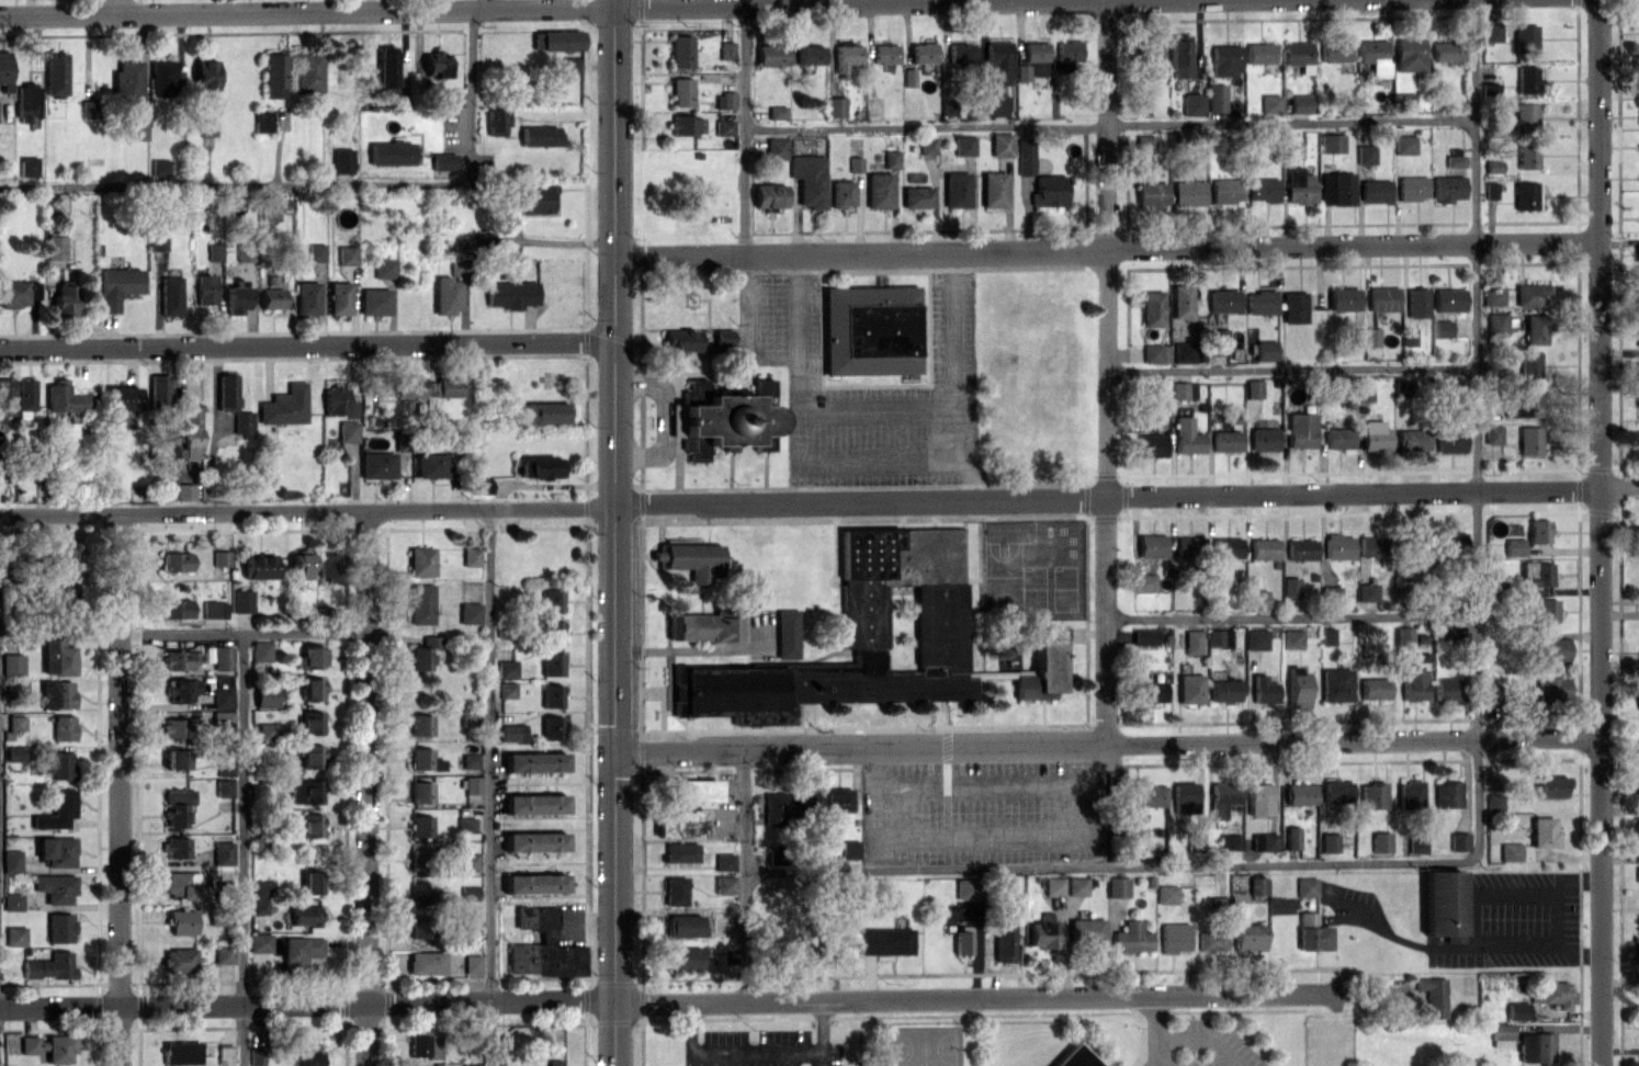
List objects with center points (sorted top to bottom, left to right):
road: (483, 4)
road: (118, 7)
road: (517, 8)
building: (1492, 32)
building: (1525, 37)
building: (556, 39)
building: (726, 49)
building: (1335, 49)
building: (680, 50)
building: (1069, 50)
building: (1446, 50)
building: (923, 52)
building: (960, 52)
building: (885, 53)
building: (1259, 53)
building: (770, 54)
building: (810, 54)
building: (1410, 54)
building: (1178, 55)
building: (1299, 55)
building: (1375, 55)
building: (846, 56)
building: (1036, 57)
building: (1225, 59)
building: (437, 63)
building: (572, 64)
building: (386, 69)
building: (4, 70)
building: (307, 72)
building: (1021, 72)
building: (55, 73)
building: (205, 73)
building: (273, 75)
building: (163, 77)
building: (1525, 79)
building: (126, 81)
building: (681, 91)
building: (443, 97)
building: (1216, 98)
building: (724, 100)
building: (27, 101)
building: (1405, 101)
building: (1270, 102)
building: (1300, 102)
building: (1192, 103)
building: (994, 104)
building: (836, 106)
building: (88, 107)
building: (777, 111)
building: (1523, 118)
building: (262, 120)
building: (496, 121)
road: (1110, 124)
building: (206, 126)
building: (723, 126)
building: (136, 128)
road: (744, 128)
building: (540, 135)
building: (1332, 141)
building: (1144, 143)
building: (1216, 143)
building: (1001, 144)
building: (1404, 144)
building: (927, 145)
building: (963, 145)
building: (776, 147)
building: (1293, 149)
building: (391, 152)
building: (1365, 154)
building: (1527, 155)
building: (1025, 156)
building: (891, 158)
building: (342, 160)
building: (1455, 160)
building: (442, 161)
building: (27, 166)
building: (1492, 166)
building: (159, 168)
building: (809, 179)
road: (317, 184)
building: (1299, 185)
building: (1412, 186)
building: (993, 188)
building: (1336, 188)
building: (1448, 188)
building: (956, 189)
building: (1263, 189)
building: (1491, 189)
building: (878, 190)
building: (1049, 190)
building: (1225, 190)
building: (1375, 190)
building: (1151, 192)
building: (1187, 192)
building: (841, 193)
building: (768, 195)
building: (916, 195)
building: (1526, 195)
building: (533, 199)
building: (269, 207)
road: (914, 229)
road: (1085, 231)
building: (158, 239)
building: (55, 243)
road: (1105, 249)
building: (214, 251)
building: (316, 251)
road: (1085, 251)
building: (245, 252)
building: (1637, 252)
road: (585, 253)
building: (347, 254)
road: (640, 262)
building: (383, 268)
road: (866, 269)
building: (117, 285)
building: (205, 288)
building: (19, 293)
building: (510, 293)
building: (447, 294)
building: (1531, 294)
building: (170, 295)
building: (1496, 295)
building: (271, 297)
building: (307, 297)
building: (339, 297)
building: (1382, 297)
building: (237, 298)
flagpole: (690, 298)
building: (1343, 298)
building: (1448, 298)
building: (63, 299)
building: (1222, 299)
building: (374, 300)
building: (1180, 300)
building: (1261, 302)
building: (1416, 302)
building: (1638, 302)
road: (744, 303)
building: (1293, 306)
road: (707, 307)
building: (1152, 308)
building: (1496, 322)
road: (691, 327)
building: (869, 328)
building: (1442, 328)
road: (796, 329)
building: (1534, 329)
road: (607, 334)
building: (1371, 336)
building: (1638, 336)
building: (723, 337)
building: (681, 340)
road: (585, 341)
road: (646, 341)
building: (1217, 341)
road: (306, 343)
building: (1265, 350)
building: (1155, 352)
building: (1185, 352)
road: (739, 361)
building: (1529, 364)
road: (1290, 368)
road: (713, 372)
road: (1105, 372)
road: (728, 379)
road: (640, 381)
building: (408, 386)
building: (448, 386)
building: (1253, 388)
building: (1402, 388)
building: (158, 389)
building: (1182, 389)
building: (226, 392)
building: (1364, 392)
building: (5, 396)
building: (24, 397)
building: (65, 397)
building: (123, 397)
building: (338, 401)
building: (1523, 401)
building: (1638, 401)
building: (285, 405)
road: (825, 406)
road: (675, 410)
building: (544, 411)
road: (678, 418)
building: (726, 418)
road: (665, 419)
building: (244, 424)
road: (585, 426)
road: (1476, 428)
building: (1300, 429)
road: (954, 430)
building: (348, 431)
building: (191, 433)
building: (1492, 433)
building: (1186, 435)
building: (1374, 435)
building: (1337, 438)
building: (1263, 439)
building: (1411, 439)
building: (1529, 439)
building: (1225, 440)
building: (1450, 441)
building: (1637, 441)
building: (1151, 444)
road: (210, 462)
building: (377, 464)
building: (431, 465)
building: (540, 466)
road: (764, 468)
road: (728, 469)
road: (1106, 474)
road: (1120, 474)
road: (1087, 475)
road: (1123, 478)
building: (481, 485)
road: (862, 485)
building: (184, 491)
road: (1126, 494)
road: (1123, 495)
road: (1085, 497)
road: (641, 501)
road: (585, 507)
road: (307, 510)
road: (1123, 512)
road: (1103, 515)
road: (1120, 515)
road: (864, 518)
road: (900, 522)
road: (932, 522)
building: (1538, 530)
road: (613, 532)
road: (1598, 533)
building: (1450, 541)
building: (1151, 544)
building: (1338, 545)
building: (1371, 545)
building: (1187, 546)
building: (1225, 546)
building: (1514, 546)
building: (1263, 547)
building: (1300, 548)
road: (834, 552)
building: (687, 555)
building: (470, 556)
building: (221, 557)
building: (174, 560)
building: (420, 560)
building: (59, 562)
building: (301, 564)
building: (259, 565)
building: (327, 566)
road: (977, 567)
building: (1536, 574)
park: (1002, 576)
road: (969, 578)
building: (1143, 581)
building: (1289, 586)
park: (1063, 587)
park: (1033, 588)
building: (1366, 591)
building: (1330, 593)
building: (551, 599)
building: (1257, 599)
building: (242, 600)
building: (420, 603)
building: (176, 608)
building: (214, 609)
building: (1545, 610)
building: (468, 612)
road: (1290, 616)
road: (1085, 617)
road: (640, 626)
building: (707, 626)
building: (554, 632)
building: (787, 632)
building: (1446, 632)
road: (242, 634)
building: (1144, 635)
building: (1326, 635)
building: (1403, 635)
building: (857, 636)
building: (1218, 637)
building: (1255, 638)
building: (1292, 638)
building: (1191, 640)
building: (1548, 648)
building: (261, 650)
building: (422, 653)
building: (57, 657)
building: (223, 657)
building: (310, 657)
building: (181, 658)
building: (551, 662)
building: (12, 664)
building: (1041, 665)
building: (506, 668)
road: (979, 671)
building: (1413, 683)
building: (1335, 684)
building: (1296, 687)
building: (1188, 688)
building: (1374, 688)
building: (1550, 688)
building: (180, 689)
building: (312, 689)
building: (507, 689)
building: (1447, 689)
building: (1224, 690)
building: (1263, 690)
road: (655, 691)
building: (1149, 691)
building: (56, 693)
building: (223, 695)
building: (265, 695)
building: (551, 695)
building: (1638, 700)
road: (659, 710)
flagpole: (958, 711)
road: (1041, 711)
road: (937, 713)
building: (468, 716)
building: (222, 719)
building: (16, 722)
building: (310, 722)
building: (420, 724)
road: (1103, 724)
building: (551, 726)
road: (863, 726)
building: (63, 727)
building: (177, 727)
road: (945, 728)
road: (591, 729)
road: (615, 729)
building: (271, 732)
building: (512, 732)
road: (1105, 744)
road: (945, 746)
road: (586, 751)
building: (15, 752)
road: (640, 752)
building: (312, 755)
building: (174, 758)
building: (423, 759)
building: (470, 760)
building: (533, 761)
building: (59, 763)
building: (225, 768)
road: (756, 768)
building: (1638, 774)
road: (945, 778)
road: (990, 782)
building: (472, 784)
building: (1550, 785)
building: (224, 786)
road: (489, 786)
road: (366, 787)
road: (118, 790)
building: (693, 790)
building: (304, 791)
building: (1336, 791)
building: (420, 792)
building: (1297, 793)
building: (1446, 793)
building: (1148, 794)
building: (1409, 794)
building: (1371, 795)
building: (1184, 796)
building: (1221, 797)
building: (837, 798)
building: (1258, 798)
building: (1493, 802)
building: (534, 803)
building: (177, 807)
road: (946, 808)
building: (773, 809)
building: (57, 810)
building: (679, 823)
building: (465, 824)
building: (310, 825)
building: (420, 826)
road: (946, 829)
building: (1542, 831)
road: (982, 833)
building: (1291, 837)
building: (534, 840)
building: (1228, 840)
building: (1458, 840)
building: (1194, 841)
building: (1263, 841)
building: (1380, 841)
building: (1329, 842)
building: (1416, 842)
building: (176, 847)
building: (849, 848)
road: (242, 849)
building: (56, 850)
building: (1511, 851)
building: (223, 852)
building: (679, 852)
building: (419, 860)
building: (11, 861)
building: (470, 861)
building: (724, 861)
road: (1110, 864)
road: (744, 874)
road: (640, 877)
building: (312, 881)
building: (534, 883)
building: (183, 884)
building: (723, 884)
building: (1053, 885)
building: (1076, 885)
building: (1256, 885)
building: (1117, 886)
building: (1305, 886)
building: (56, 887)
building: (262, 887)
building: (967, 888)
building: (674, 891)
building: (468, 892)
building: (1165, 894)
building: (419, 895)
building: (12, 900)
building: (1442, 901)
building: (258, 906)
building: (305, 915)
road: (1558, 916)
building: (466, 920)
building: (181, 921)
building: (682, 925)
building: (59, 927)
building: (419, 927)
building: (1087, 930)
building: (1311, 932)
building: (1042, 934)
building: (15, 935)
building: (1173, 937)
building: (1248, 937)
building: (1130, 938)
building: (962, 939)
building: (884, 940)
building: (1211, 940)
building: (1003, 941)
building: (259, 942)
building: (543, 945)
building: (828, 946)
road: (1444, 946)
building: (1638, 946)
building: (302, 949)
building: (223, 953)
building: (682, 957)
building: (179, 960)
building: (425, 962)
building: (472, 963)
building: (49, 965)
road: (637, 980)
road: (590, 982)
road: (614, 982)
building: (1550, 991)
building: (1432, 995)
road: (586, 999)
road: (671, 1000)
road: (641, 1002)
building: (1516, 1010)
road: (586, 1016)
road: (641, 1018)
road: (1150, 1019)
road: (614, 1020)
road: (637, 1020)
road: (590, 1021)
road: (820, 1032)
building: (1501, 1034)
road: (1201, 1037)
building: (423, 1044)
building: (49, 1046)
building: (1535, 1046)
building: (180, 1052)
road: (731, 1052)
building: (225, 1054)
building: (305, 1055)
road: (1153, 1055)
building: (256, 1056)
building: (1074, 1057)
building: (555, 1062)
building: (409, 1065)
building: (471, 1065)

